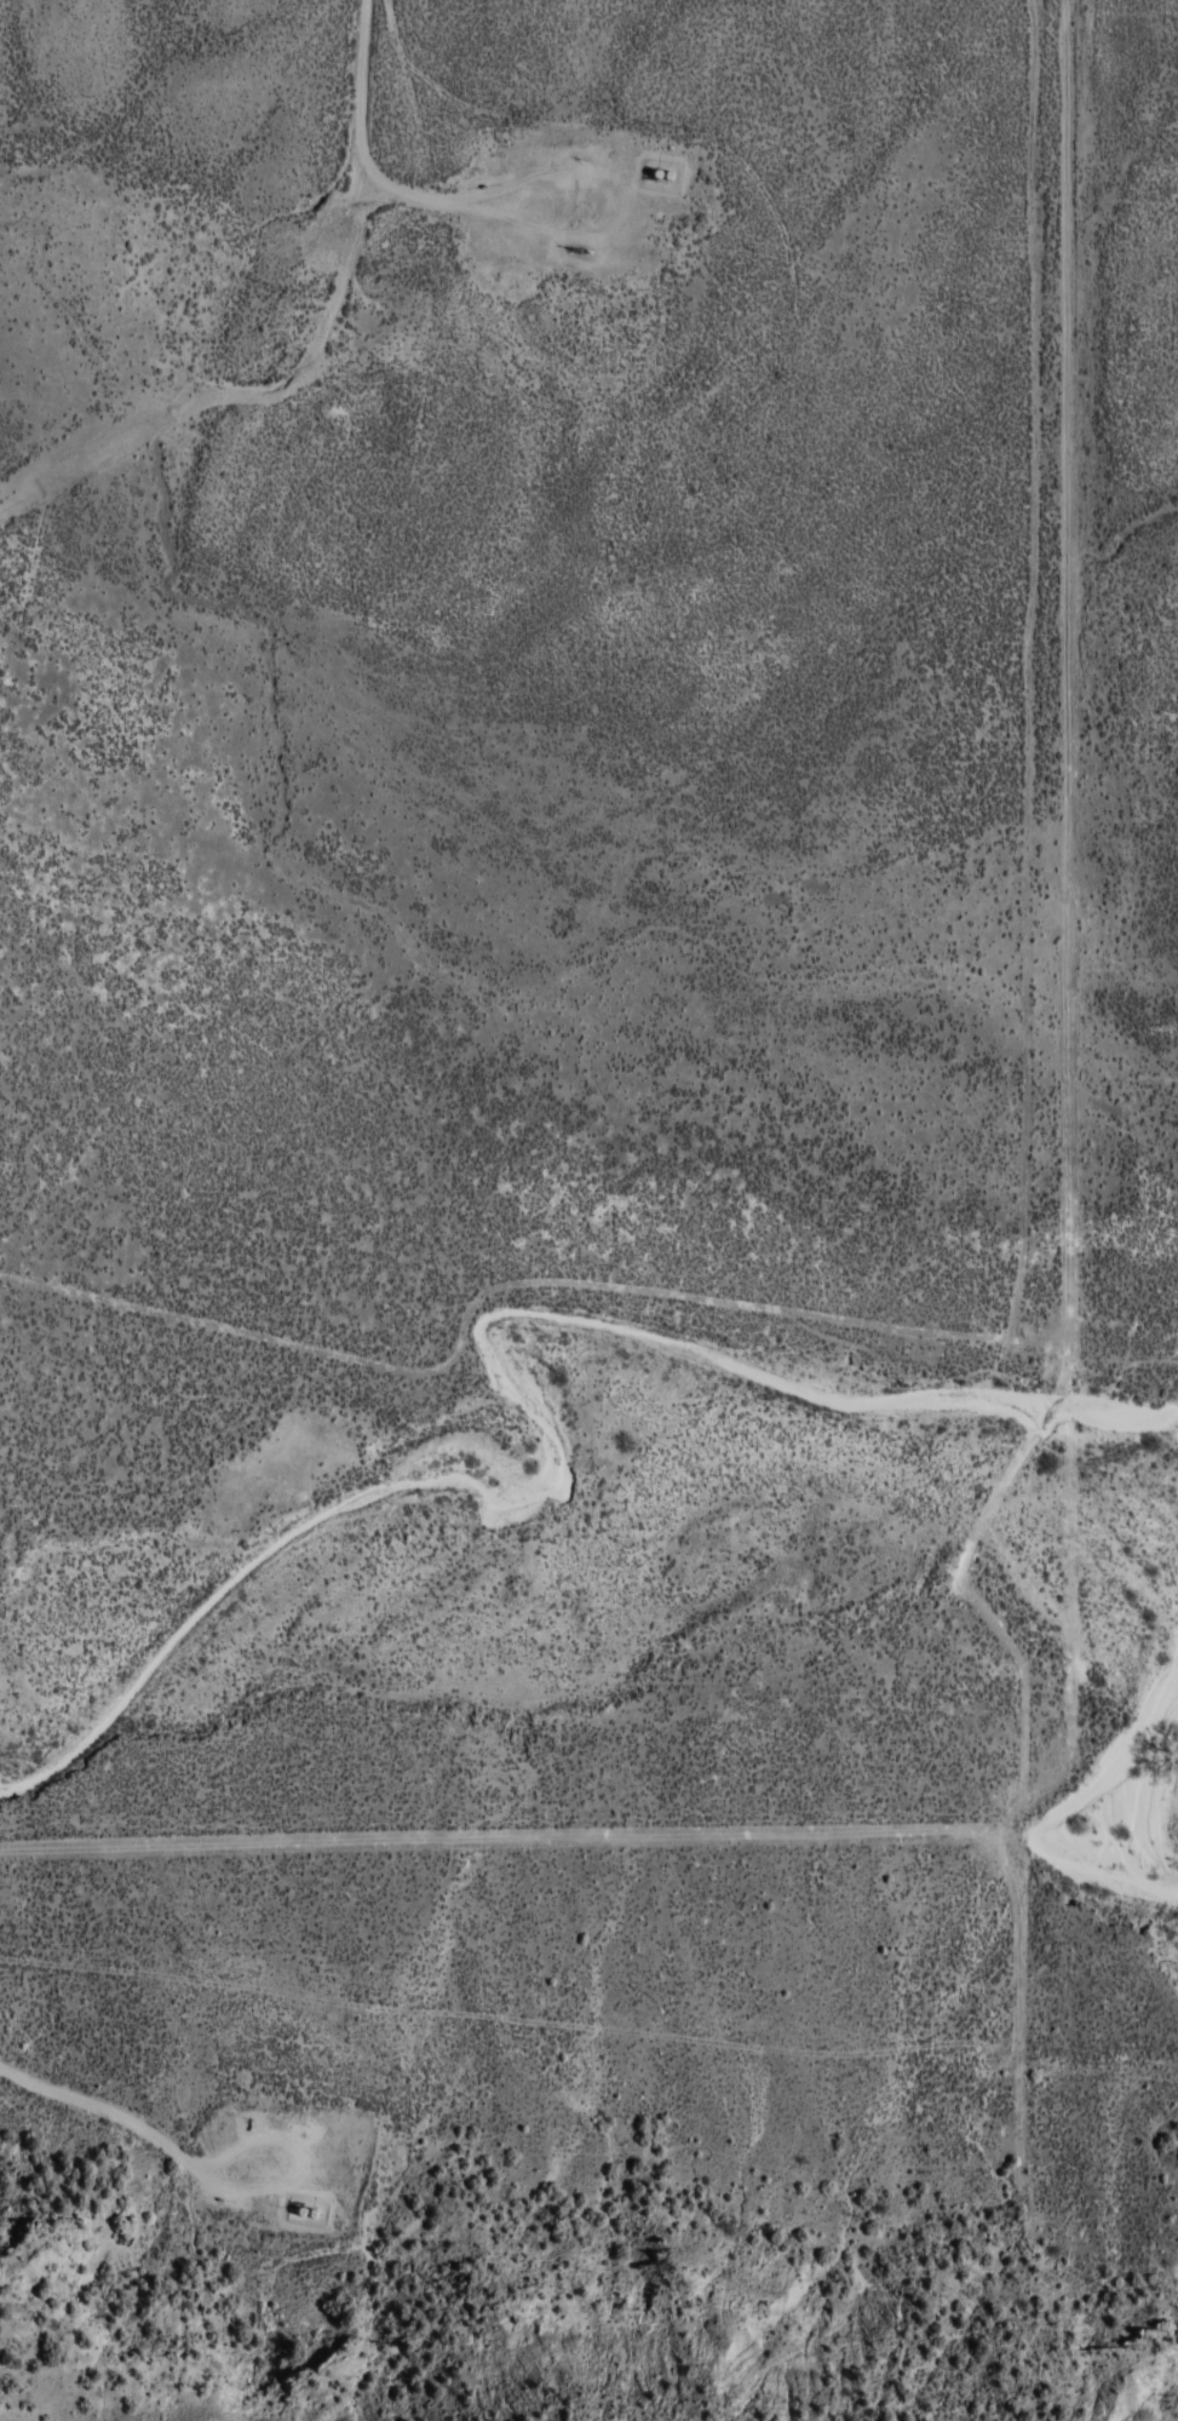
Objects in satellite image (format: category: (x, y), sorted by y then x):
road: (352, 334)
river: (586, 1451)
road: (517, 1997)

